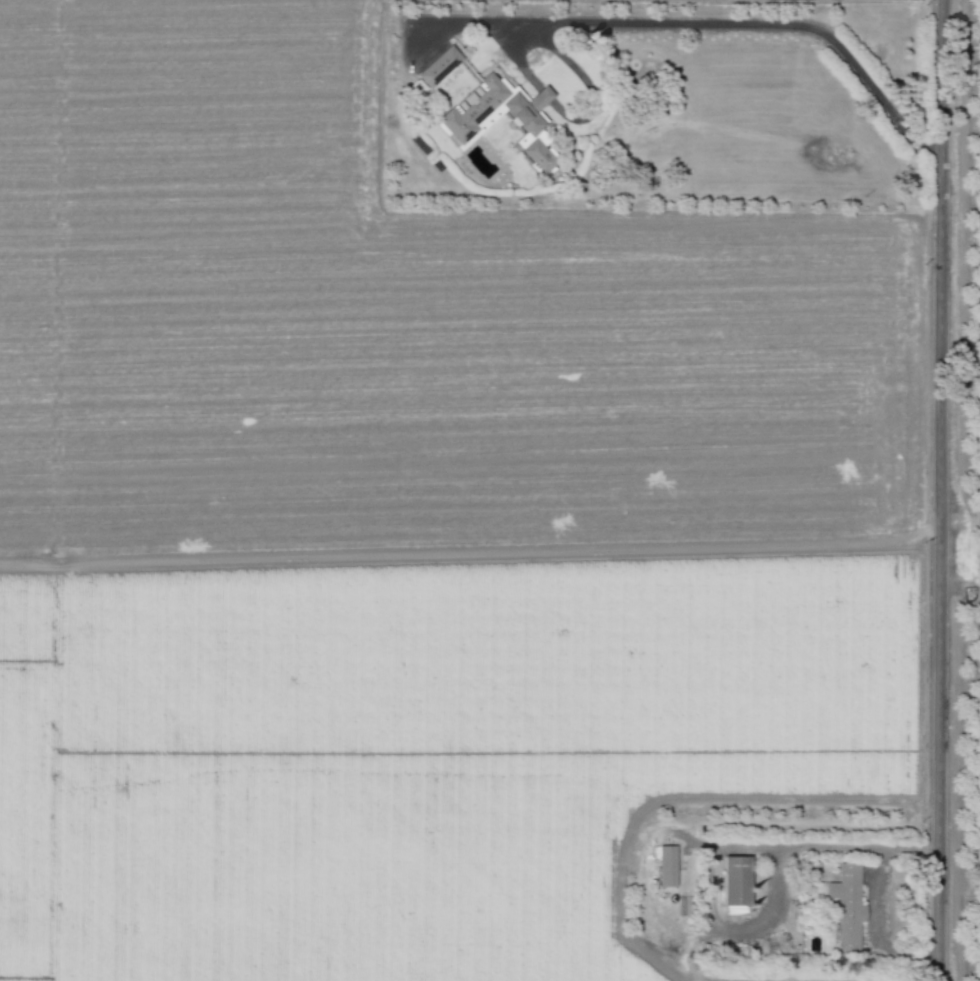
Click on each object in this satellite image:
road: (704, 26)
building: (439, 66)
building: (463, 116)
road: (574, 118)
road: (939, 490)
building: (666, 866)
road: (711, 871)
road: (880, 872)
building: (736, 880)
building: (847, 905)

